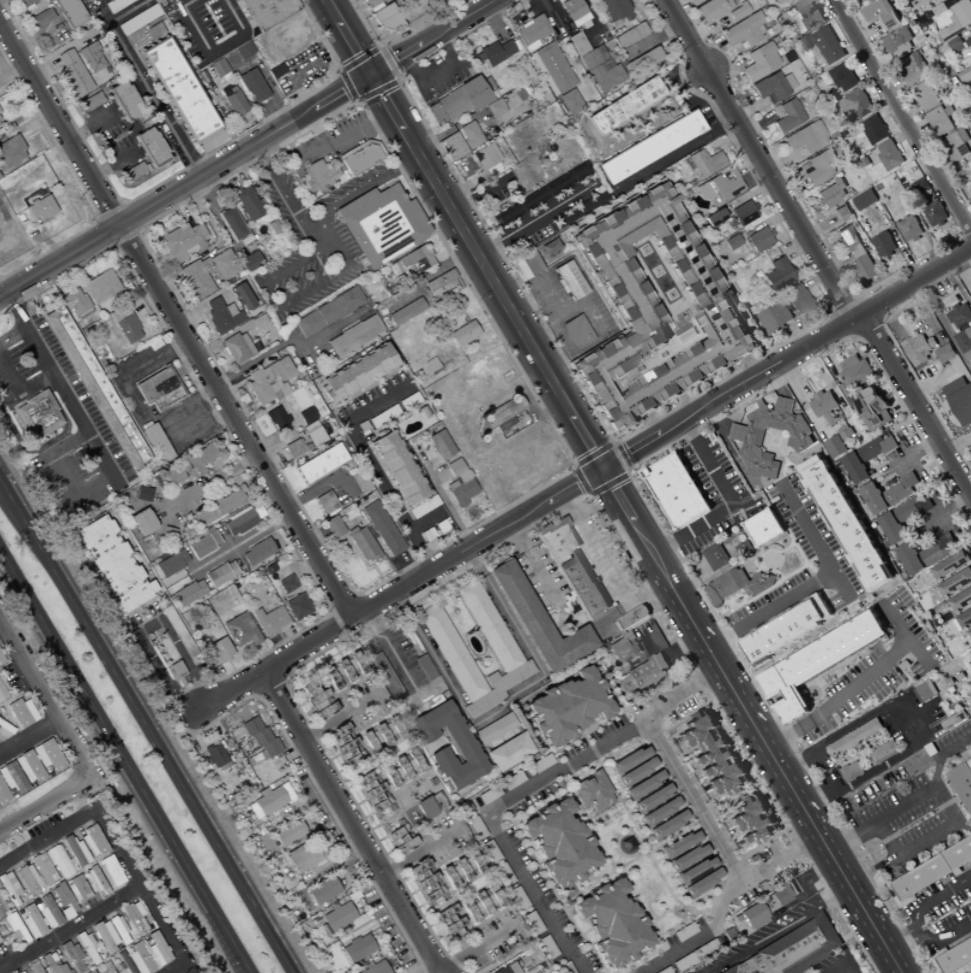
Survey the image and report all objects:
road: (1, 0)
road: (328, 1)
building: (782, 1)
building: (931, 1)
building: (26, 2)
building: (692, 2)
building: (160, 3)
road: (187, 3)
building: (371, 3)
building: (116, 4)
building: (943, 7)
building: (712, 9)
building: (612, 10)
building: (69, 12)
building: (268, 12)
building: (574, 12)
building: (738, 12)
building: (882, 14)
building: (807, 15)
building: (40, 18)
building: (140, 18)
building: (385, 18)
building: (958, 18)
building: (745, 30)
building: (154, 31)
building: (531, 33)
building: (630, 35)
road: (346, 36)
road: (431, 36)
building: (899, 43)
building: (826, 45)
building: (958, 45)
road: (215, 48)
building: (243, 51)
building: (494, 53)
building: (91, 57)
building: (642, 60)
building: (760, 62)
building: (596, 64)
building: (218, 67)
building: (551, 68)
building: (913, 69)
building: (276, 71)
building: (73, 73)
traffic signals: (368, 74)
building: (843, 78)
building: (967, 80)
building: (253, 86)
building: (773, 87)
building: (180, 90)
building: (925, 96)
road: (151, 97)
building: (91, 101)
building: (125, 101)
building: (457, 102)
building: (570, 102)
building: (234, 104)
building: (856, 105)
building: (625, 106)
building: (494, 108)
road: (904, 115)
building: (788, 116)
building: (940, 122)
building: (1, 129)
building: (874, 130)
building: (469, 135)
building: (806, 138)
building: (956, 145)
building: (452, 147)
building: (650, 148)
building: (11, 151)
road: (674, 151)
building: (148, 154)
building: (890, 155)
building: (361, 158)
road: (760, 160)
building: (486, 161)
building: (705, 163)
building: (820, 167)
building: (320, 177)
building: (970, 179)
road: (185, 186)
building: (921, 187)
building: (718, 189)
building: (541, 194)
building: (830, 194)
building: (597, 200)
building: (865, 200)
building: (248, 203)
building: (40, 209)
building: (842, 213)
building: (742, 214)
building: (935, 215)
building: (714, 218)
road: (529, 222)
building: (232, 223)
building: (382, 226)
building: (910, 229)
building: (759, 239)
building: (182, 241)
building: (731, 242)
building: (884, 245)
building: (551, 247)
building: (855, 251)
building: (250, 261)
building: (411, 261)
building: (224, 265)
building: (525, 265)
building: (777, 274)
building: (197, 278)
road: (427, 279)
building: (570, 280)
building: (102, 288)
building: (241, 296)
building: (797, 300)
building: (76, 303)
building: (655, 309)
building: (328, 311)
building: (405, 312)
building: (221, 315)
building: (960, 316)
road: (561, 317)
building: (775, 318)
road: (176, 323)
road: (944, 326)
building: (127, 328)
building: (576, 332)
road: (12, 334)
building: (463, 334)
building: (354, 336)
building: (964, 343)
road: (282, 345)
building: (237, 348)
building: (918, 349)
building: (945, 353)
road: (752, 366)
building: (856, 369)
building: (358, 373)
building: (269, 381)
road: (57, 383)
road: (42, 385)
building: (98, 387)
road: (19, 392)
building: (157, 394)
building: (960, 401)
road: (376, 404)
road: (689, 404)
building: (823, 404)
road: (917, 404)
road: (54, 405)
building: (873, 409)
building: (501, 413)
building: (39, 414)
building: (306, 415)
building: (276, 418)
road: (659, 422)
road: (718, 422)
building: (315, 436)
building: (800, 442)
building: (158, 444)
building: (440, 445)
building: (970, 446)
building: (835, 447)
road: (29, 449)
building: (294, 449)
building: (866, 458)
building: (320, 463)
building: (187, 467)
building: (398, 468)
traffic signals: (604, 470)
road: (62, 473)
road: (584, 481)
road: (212, 482)
road: (320, 484)
building: (461, 487)
building: (677, 491)
building: (142, 494)
building: (889, 494)
road: (388, 496)
building: (325, 503)
road: (731, 503)
building: (422, 507)
building: (215, 508)
building: (241, 520)
building: (143, 522)
building: (898, 522)
road: (635, 523)
building: (847, 526)
building: (333, 527)
building: (764, 528)
building: (382, 529)
building: (556, 538)
building: (203, 544)
building: (362, 544)
road: (231, 551)
building: (257, 552)
building: (925, 555)
building: (716, 557)
building: (171, 564)
road: (534, 564)
building: (114, 565)
building: (952, 565)
road: (611, 571)
building: (220, 574)
building: (956, 583)
building: (286, 584)
building: (737, 586)
road: (811, 586)
building: (582, 587)
building: (188, 593)
building: (961, 600)
building: (297, 607)
building: (270, 621)
building: (539, 622)
road: (149, 627)
building: (240, 630)
building: (787, 630)
building: (492, 631)
building: (970, 631)
building: (179, 639)
road: (389, 647)
building: (624, 648)
building: (215, 651)
building: (1, 659)
building: (456, 661)
building: (817, 664)
building: (424, 668)
building: (344, 670)
building: (174, 671)
building: (642, 673)
building: (385, 677)
building: (154, 678)
road: (39, 690)
building: (926, 692)
road: (836, 703)
building: (568, 707)
road: (195, 709)
building: (21, 713)
building: (954, 721)
road: (147, 727)
road: (857, 727)
building: (495, 729)
building: (4, 730)
road: (28, 737)
building: (855, 738)
building: (462, 745)
building: (508, 752)
building: (884, 753)
building: (48, 755)
building: (215, 755)
building: (713, 756)
building: (630, 759)
road: (944, 759)
road: (121, 764)
building: (540, 764)
building: (28, 767)
building: (635, 772)
building: (852, 772)
building: (11, 777)
road: (867, 777)
building: (511, 781)
building: (962, 783)
building: (644, 784)
road: (526, 788)
building: (592, 792)
building: (2, 795)
building: (488, 795)
road: (944, 796)
building: (375, 797)
building: (652, 798)
building: (269, 799)
road: (691, 801)
road: (48, 803)
building: (430, 805)
building: (660, 811)
building: (753, 821)
road: (351, 822)
building: (668, 824)
road: (965, 825)
building: (289, 834)
building: (400, 839)
road: (49, 841)
building: (92, 841)
building: (559, 843)
building: (680, 843)
building: (487, 847)
building: (75, 851)
building: (305, 857)
building: (687, 857)
building: (58, 862)
building: (43, 869)
building: (695, 870)
building: (109, 871)
building: (928, 873)
building: (28, 880)
building: (96, 881)
building: (425, 881)
building: (702, 882)
building: (9, 889)
building: (76, 889)
building: (323, 890)
building: (783, 894)
road: (146, 897)
road: (723, 899)
building: (65, 902)
building: (484, 903)
building: (2, 909)
building: (753, 916)
building: (134, 917)
building: (338, 917)
building: (31, 922)
building: (451, 923)
building: (612, 923)
road: (916, 923)
building: (15, 928)
road: (71, 929)
building: (118, 930)
road: (781, 931)
building: (104, 936)
road: (901, 942)
building: (88, 948)
road: (227, 948)
building: (357, 948)
building: (156, 949)
building: (794, 949)
building: (954, 954)
building: (71, 956)
building: (133, 961)
building: (53, 964)
building: (34, 968)
building: (103, 968)
road: (178, 968)
building: (507, 968)
building: (374, 969)
road: (841, 969)
road: (849, 969)
building: (21, 972)
building: (90, 972)
building: (970, 972)

